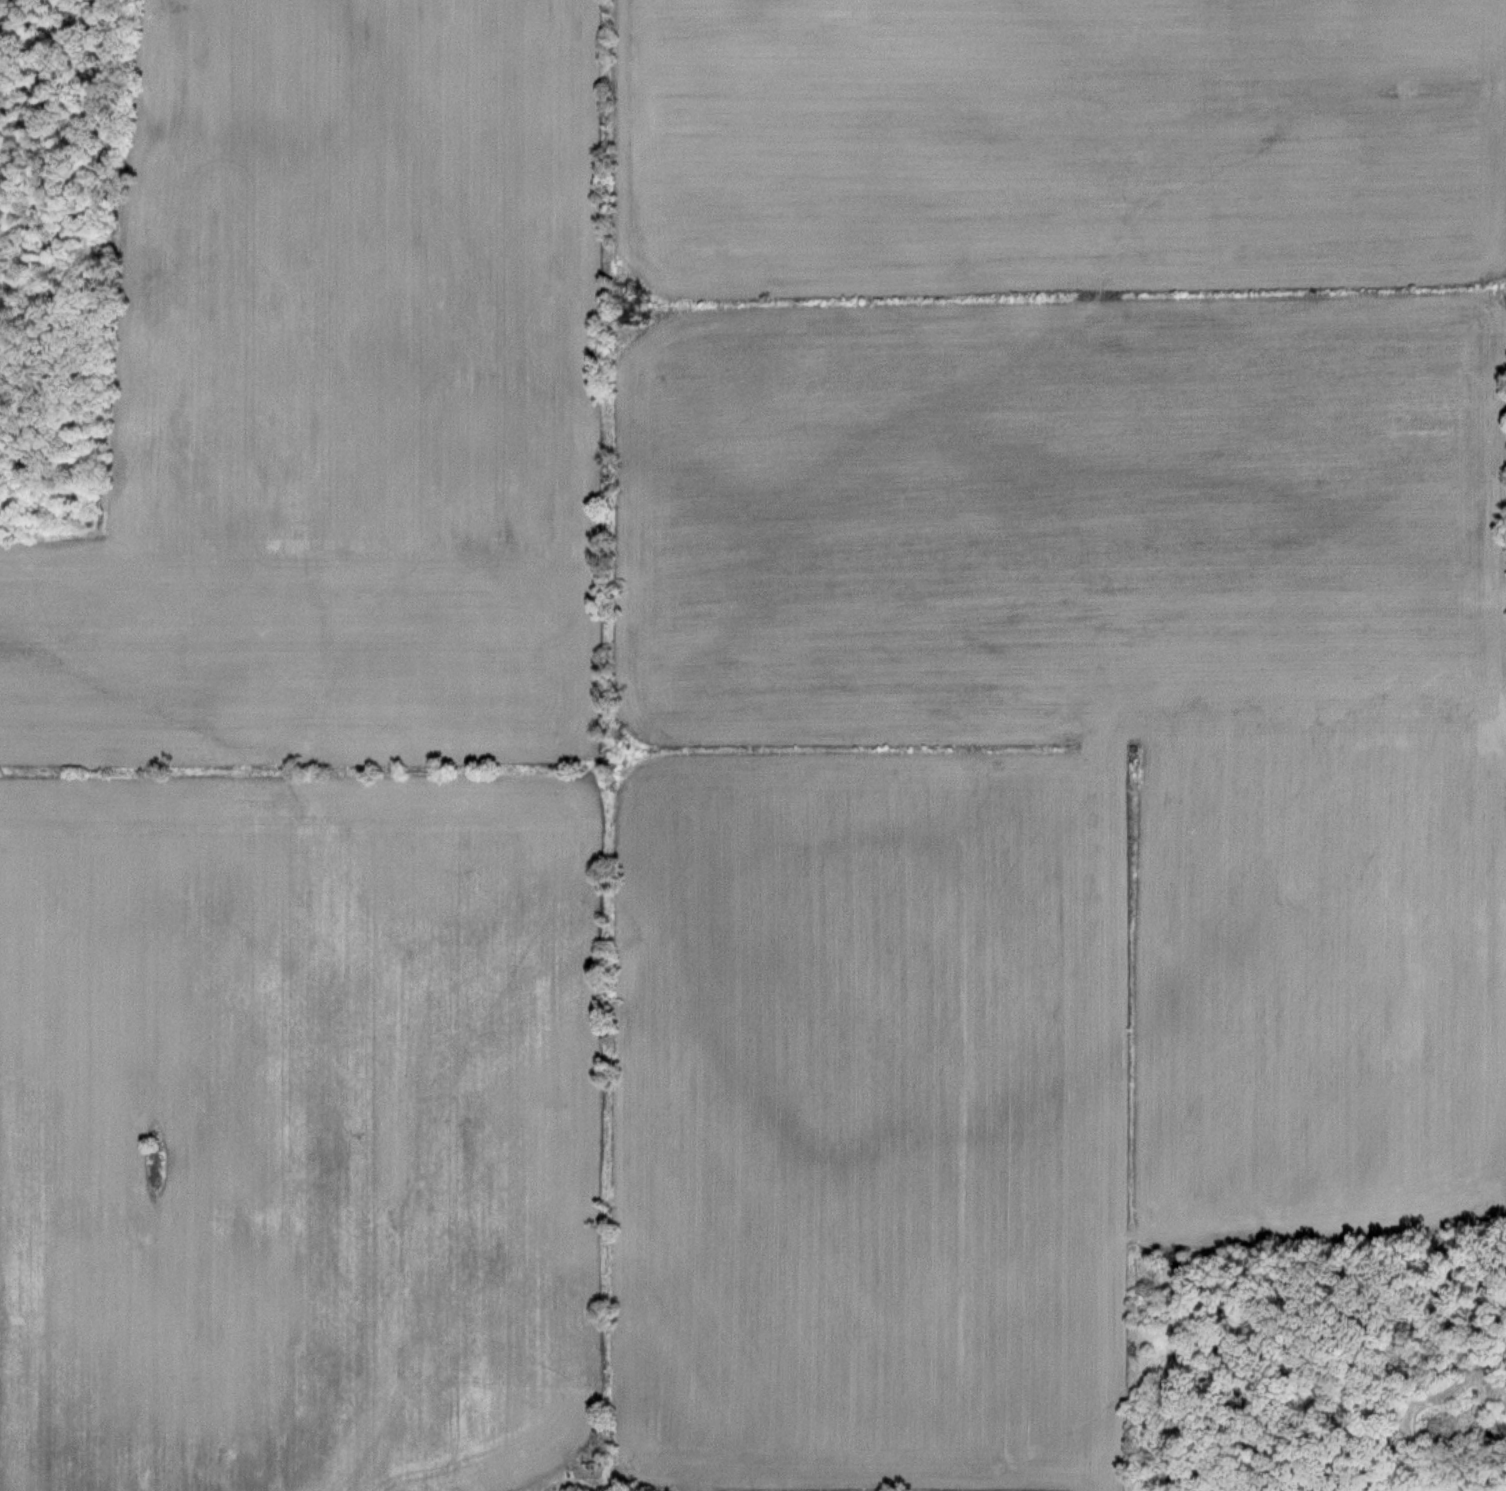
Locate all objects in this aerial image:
building: (1374, 1489)

